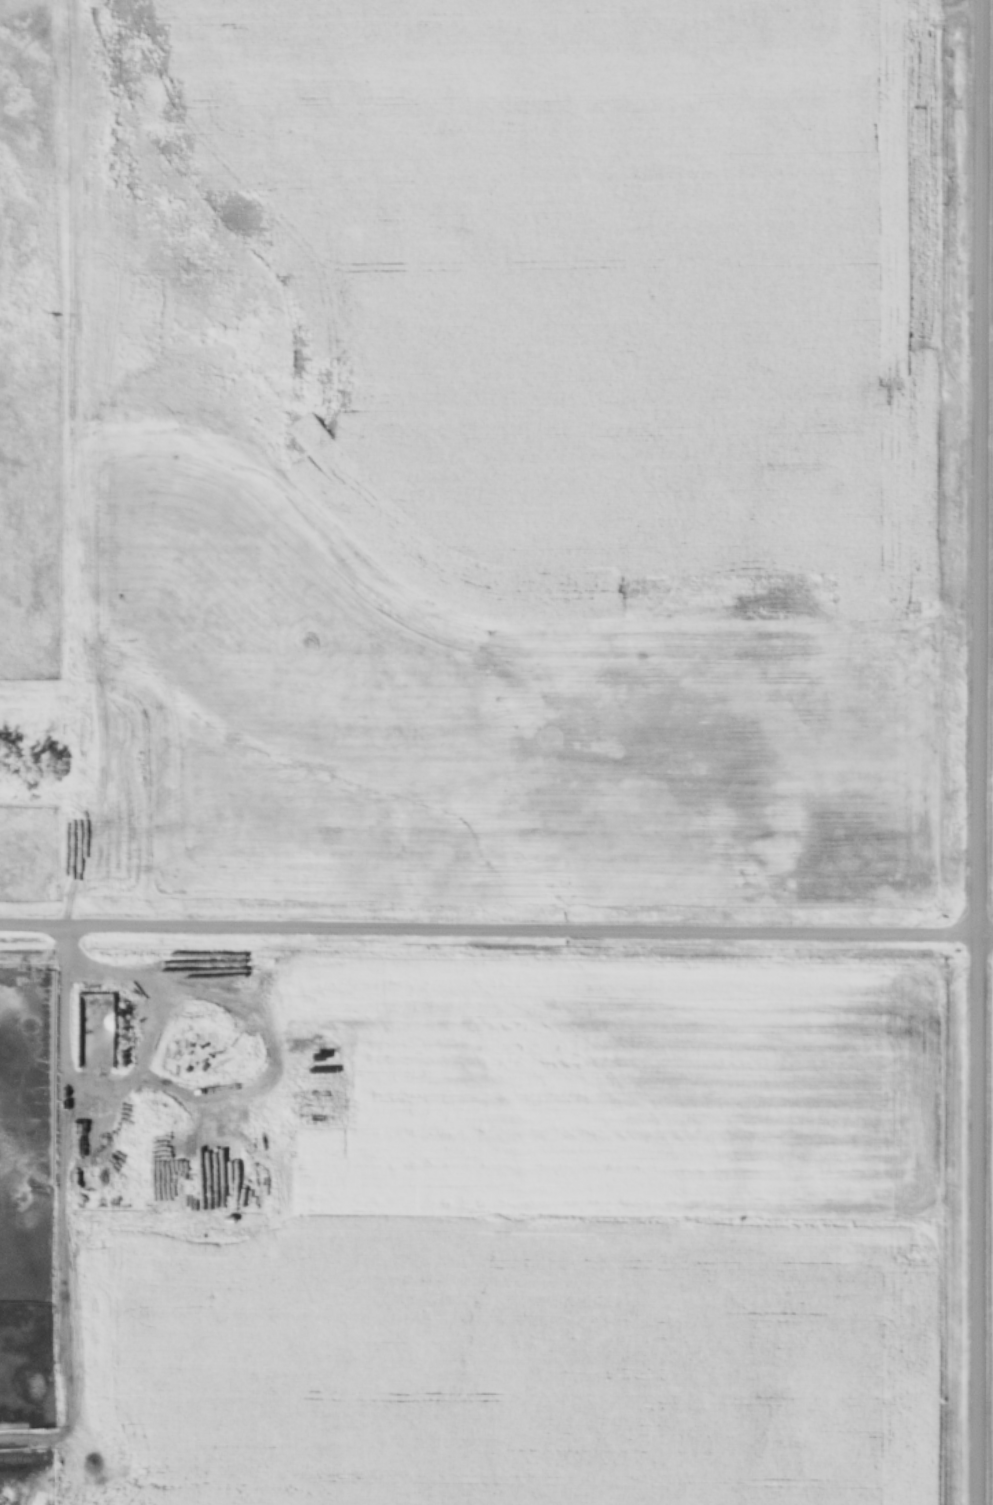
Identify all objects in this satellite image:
road: (978, 752)
road: (496, 929)
building: (97, 1031)

